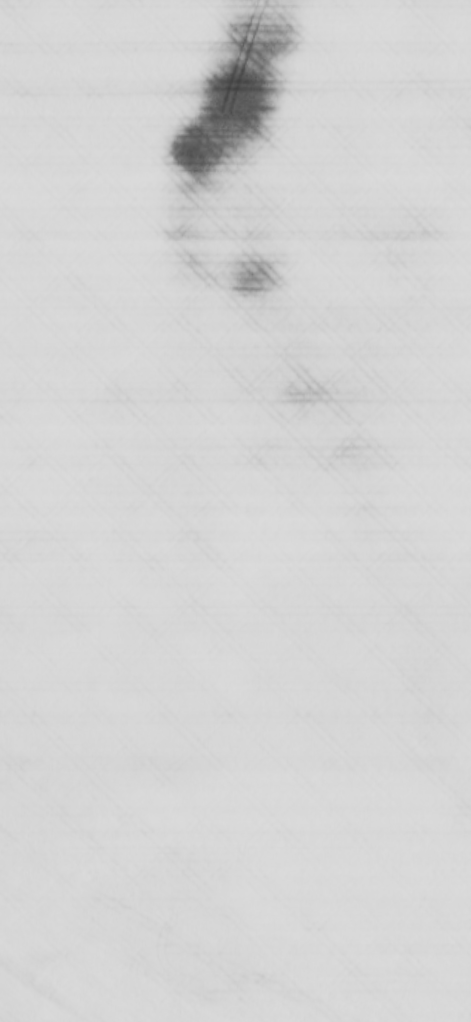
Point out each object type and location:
crop: (235, 511)

